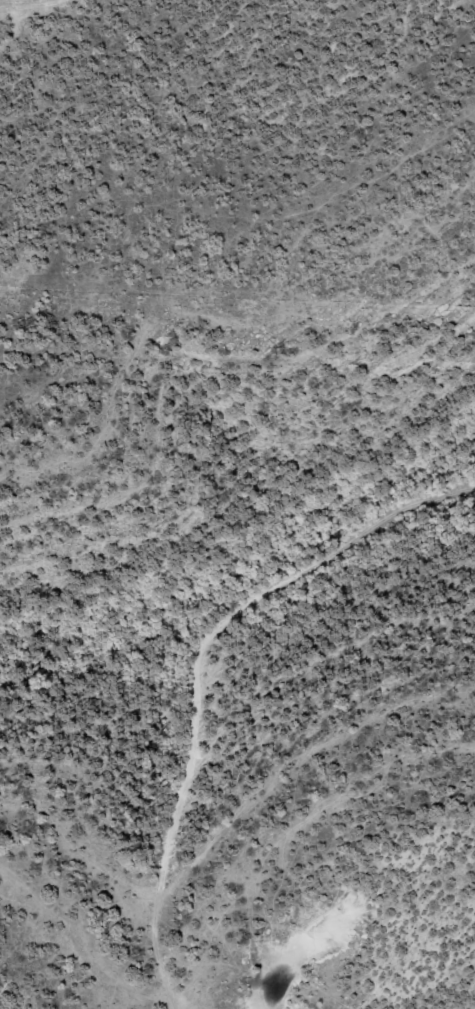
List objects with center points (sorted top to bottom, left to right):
road: (263, 705)

